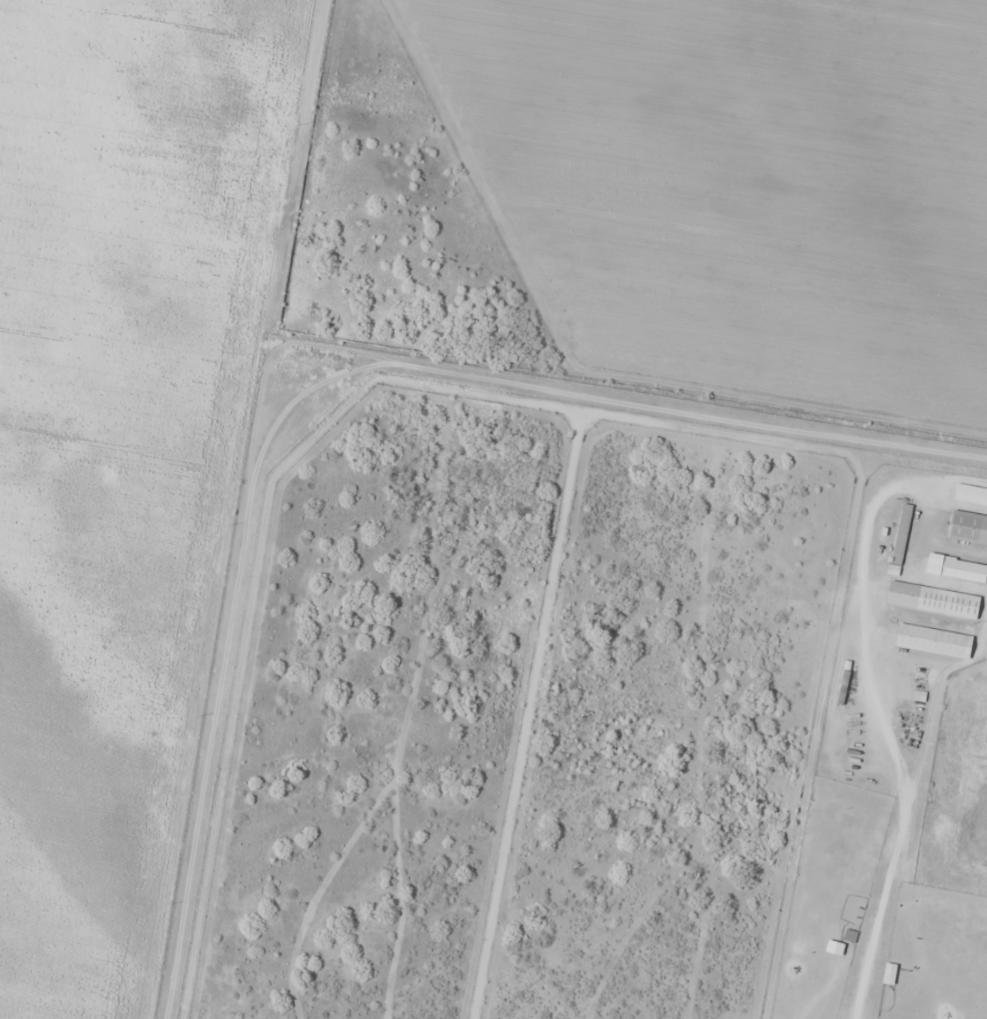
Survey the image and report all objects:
road: (320, 373)
building: (971, 494)
building: (968, 527)
building: (901, 534)
building: (964, 569)
building: (948, 602)
building: (934, 641)
building: (926, 675)
airport: (585, 709)
building: (890, 973)

